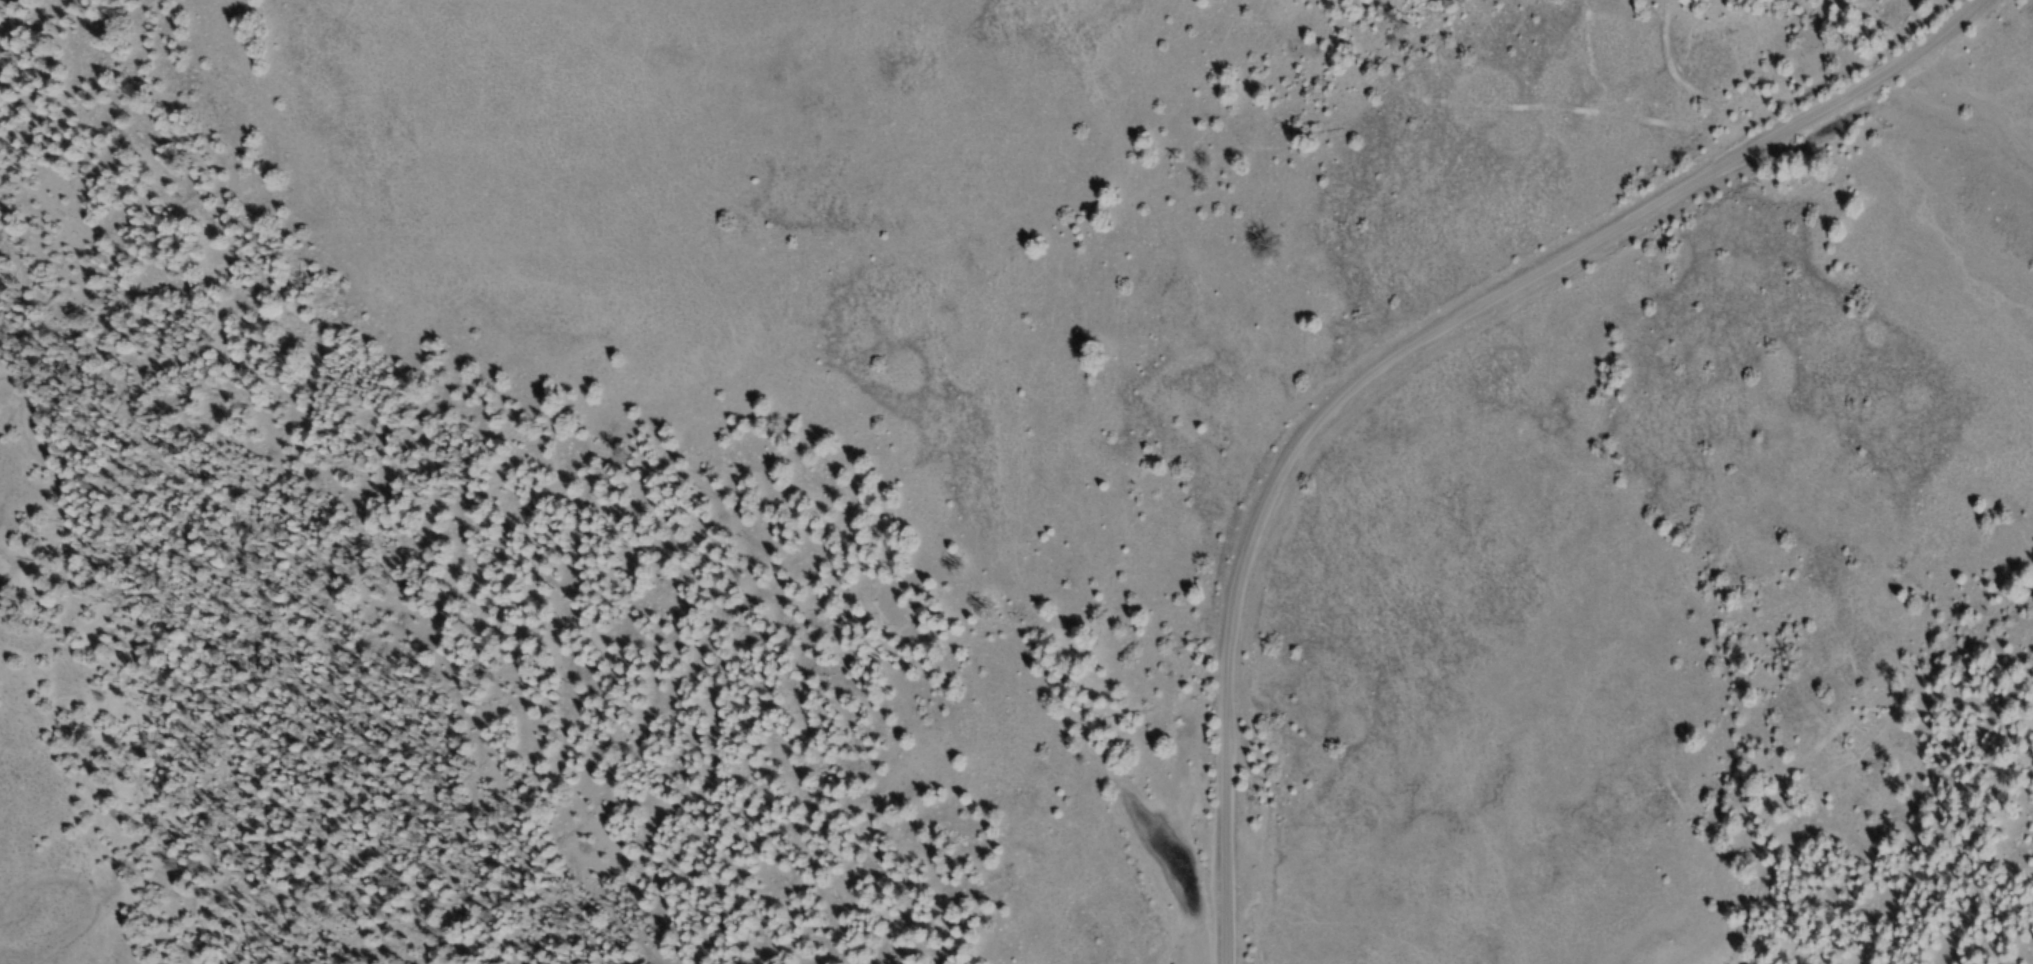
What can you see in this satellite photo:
road: (1403, 353)

